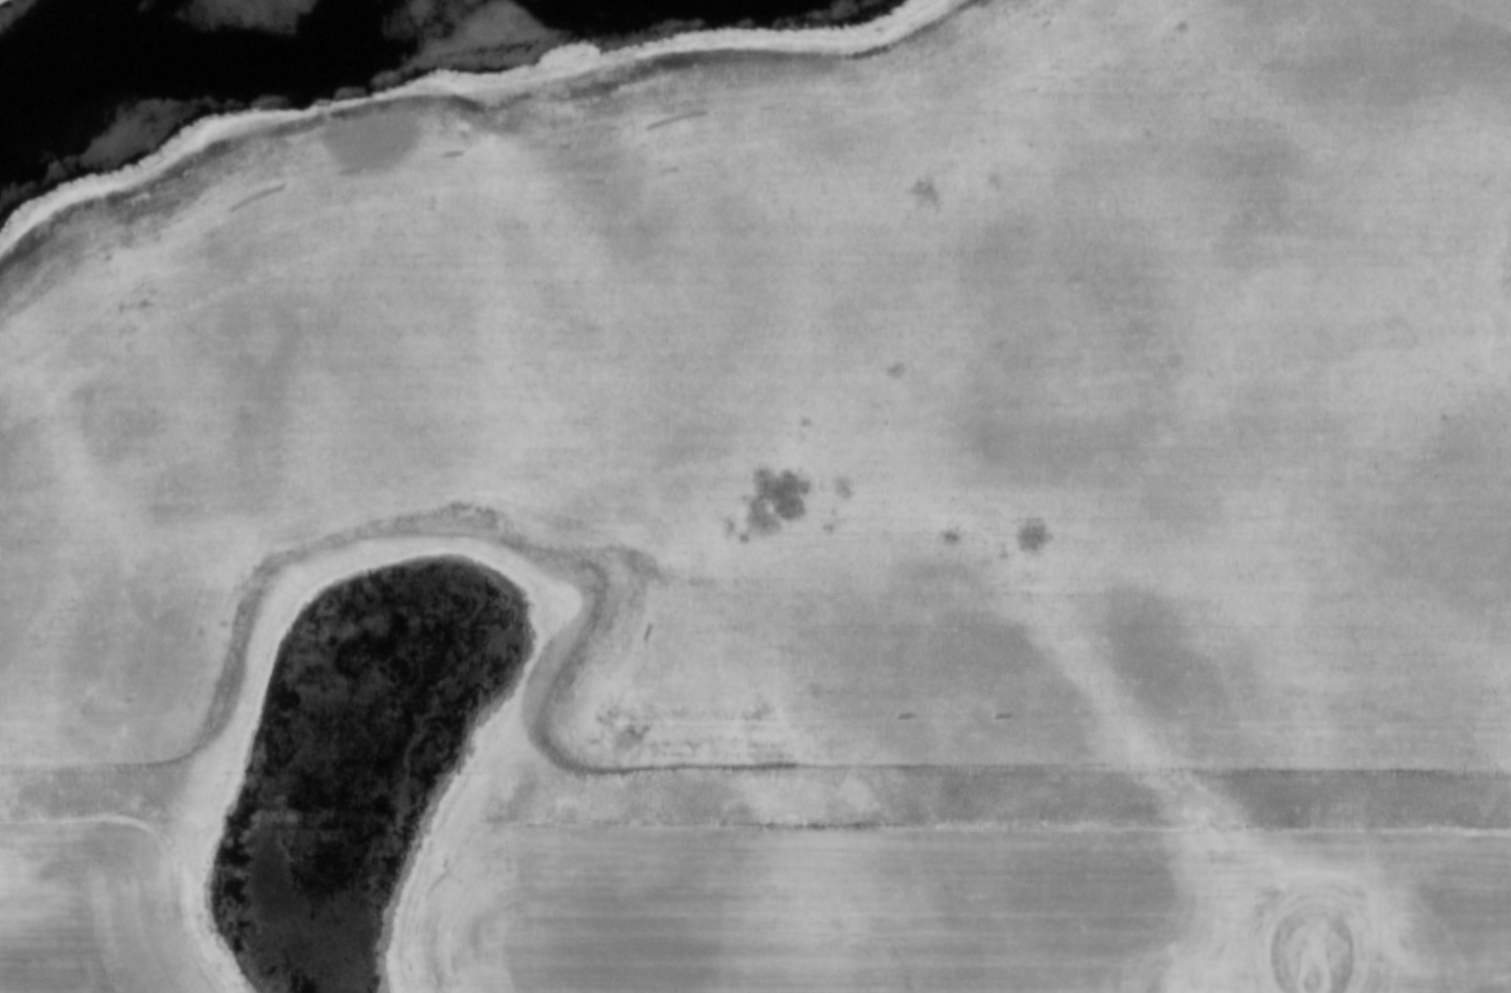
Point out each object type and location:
road: (82, 817)

